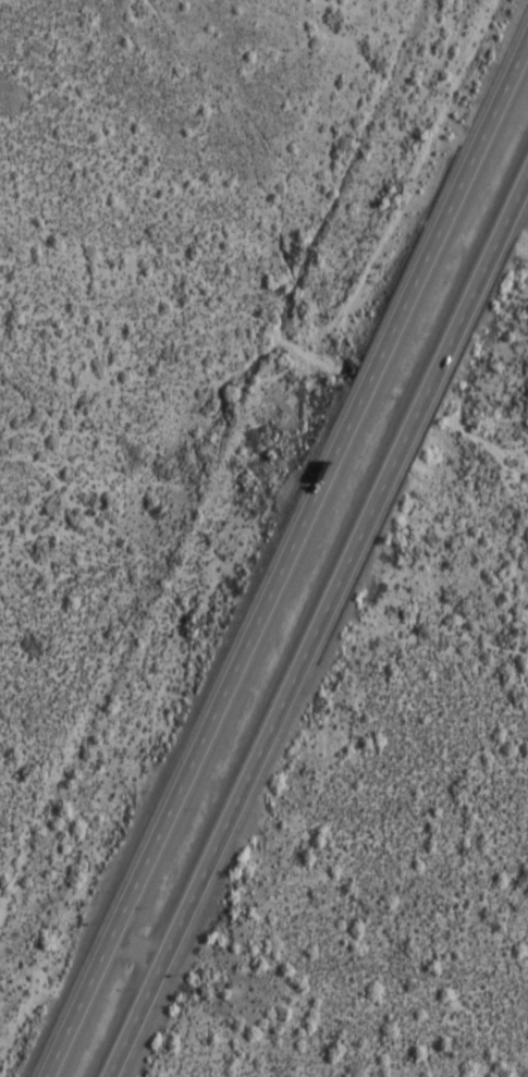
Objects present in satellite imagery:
road: (285, 555)
road: (318, 625)
road: (342, 816)

